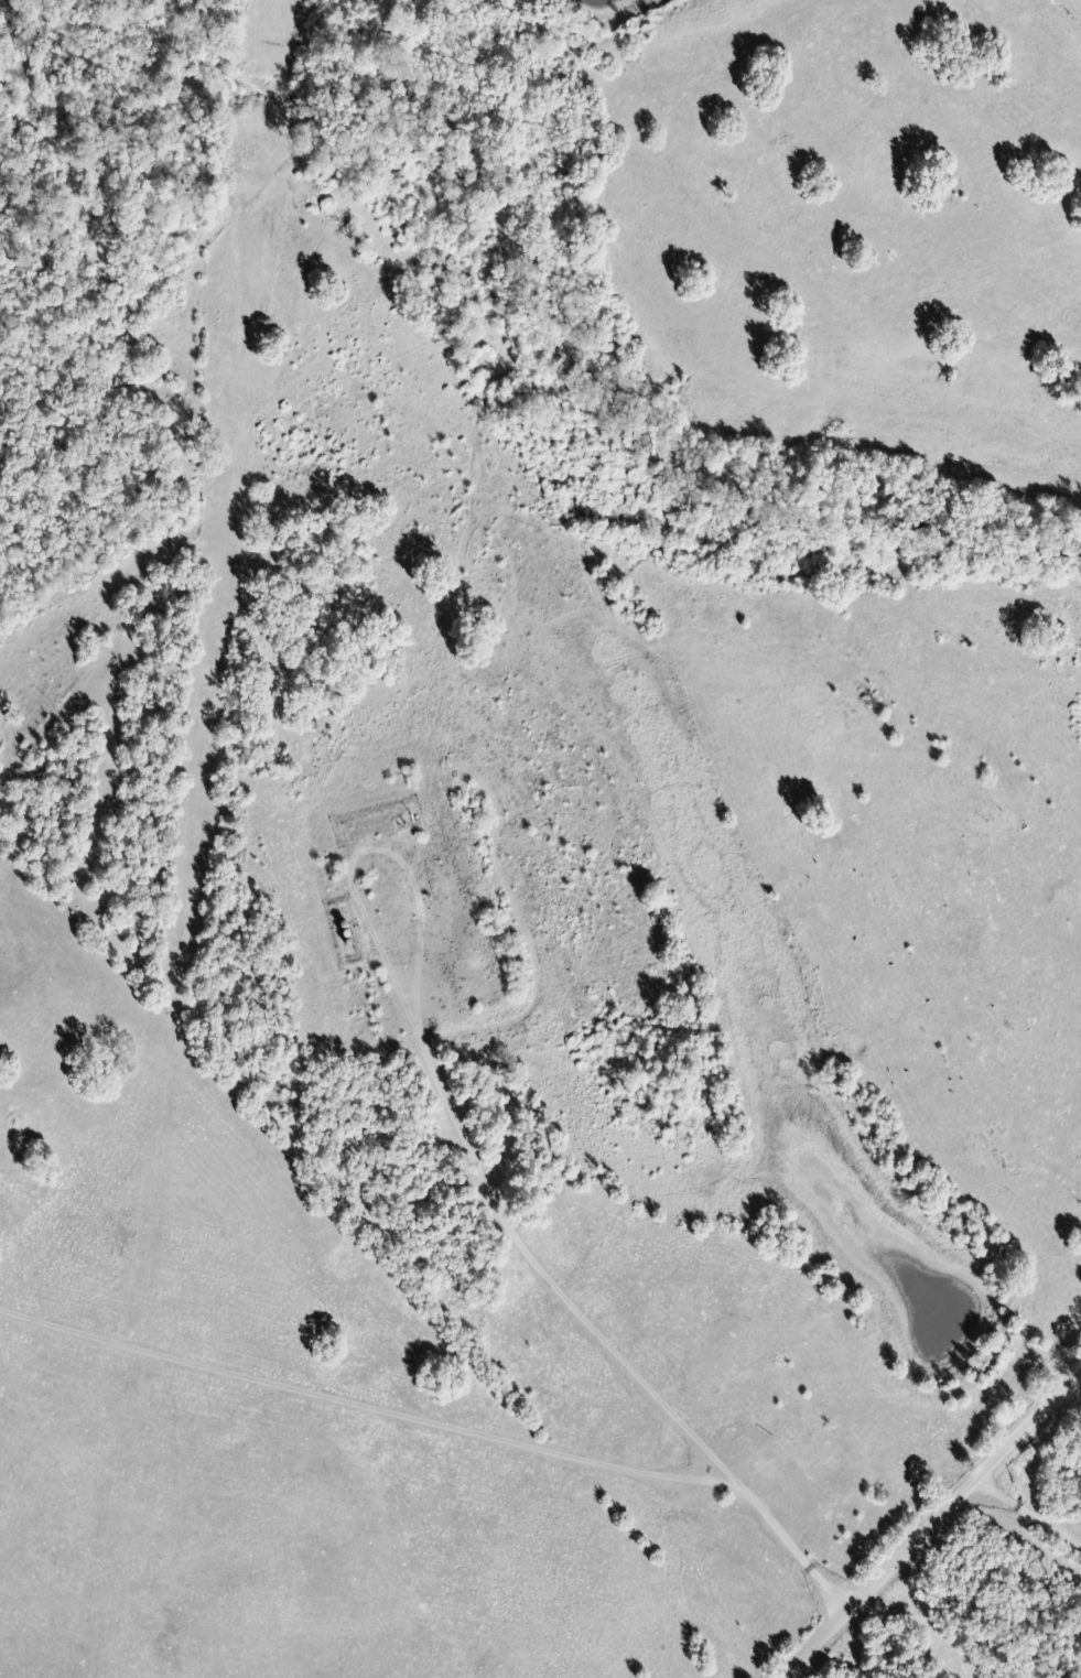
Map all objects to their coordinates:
road: (1018, 1433)
road: (867, 1588)

